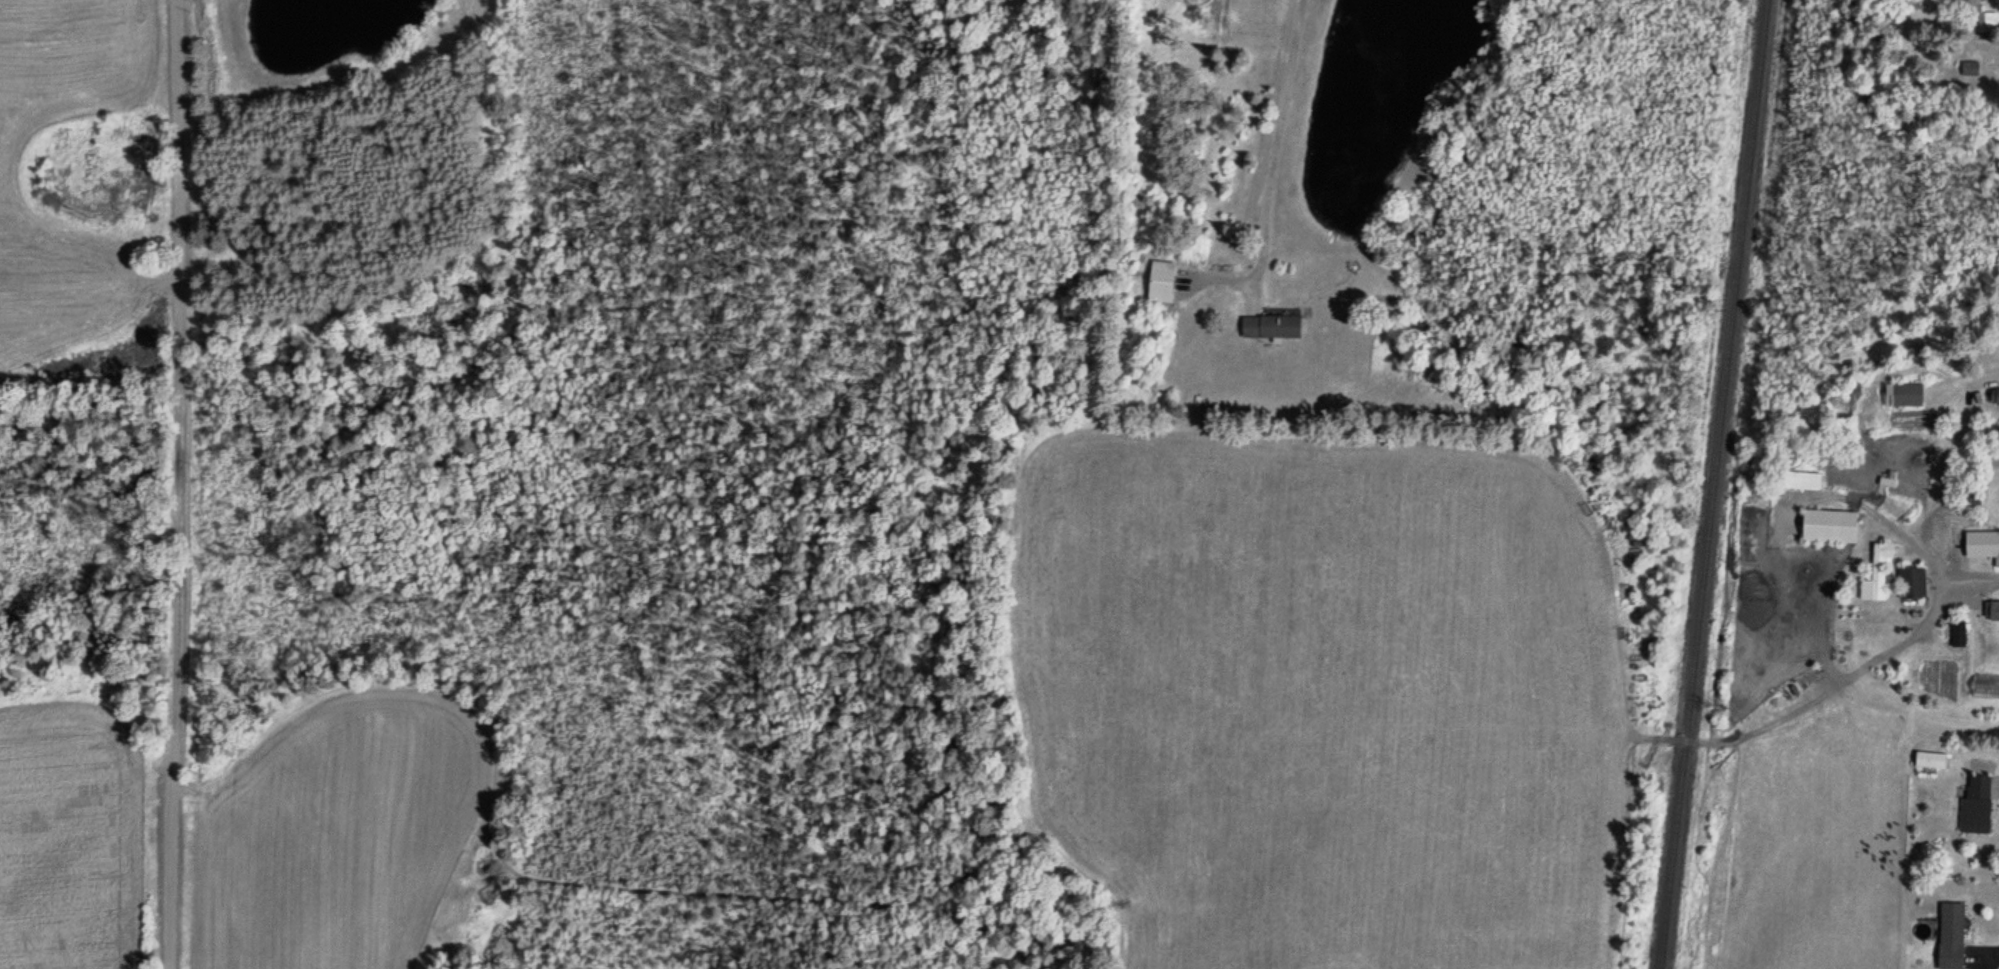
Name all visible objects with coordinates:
building: (1977, 13)
building: (1984, 21)
road: (1987, 48)
building: (1969, 64)
road: (1274, 151)
building: (1162, 279)
building: (1271, 322)
building: (1904, 392)
building: (1994, 393)
road: (181, 484)
railway: (1709, 484)
building: (1827, 524)
building: (1943, 533)
building: (1995, 544)
road: (1923, 553)
building: (1874, 572)
building: (1911, 579)
building: (1990, 609)
building: (1955, 621)
building: (1927, 756)
building: (1973, 804)
building: (1949, 932)
road: (1982, 955)

